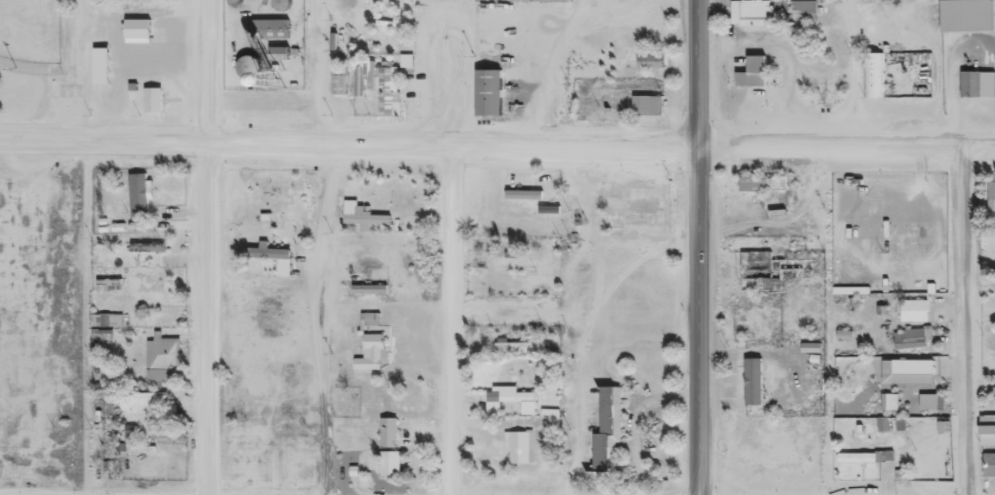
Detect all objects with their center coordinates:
building: (753, 9)
building: (792, 9)
building: (963, 10)
building: (136, 22)
building: (270, 22)
building: (276, 44)
building: (647, 53)
building: (651, 65)
building: (750, 65)
building: (247, 67)
building: (873, 67)
building: (975, 77)
building: (486, 82)
building: (337, 85)
building: (152, 92)
building: (647, 98)
road: (845, 143)
road: (347, 145)
building: (759, 183)
building: (139, 186)
building: (990, 195)
building: (548, 205)
building: (361, 209)
building: (365, 219)
road: (210, 247)
road: (695, 247)
building: (272, 249)
building: (513, 262)
building: (773, 267)
building: (369, 282)
building: (508, 287)
road: (982, 290)
building: (912, 310)
road: (969, 318)
building: (368, 319)
road: (832, 319)
road: (327, 320)
road: (452, 320)
building: (910, 341)
building: (161, 344)
building: (509, 346)
building: (369, 352)
building: (915, 367)
building: (156, 375)
building: (748, 381)
building: (515, 390)
building: (139, 400)
building: (926, 401)
building: (606, 421)
building: (388, 425)
building: (518, 441)
building: (246, 445)
building: (389, 457)
building: (988, 465)

